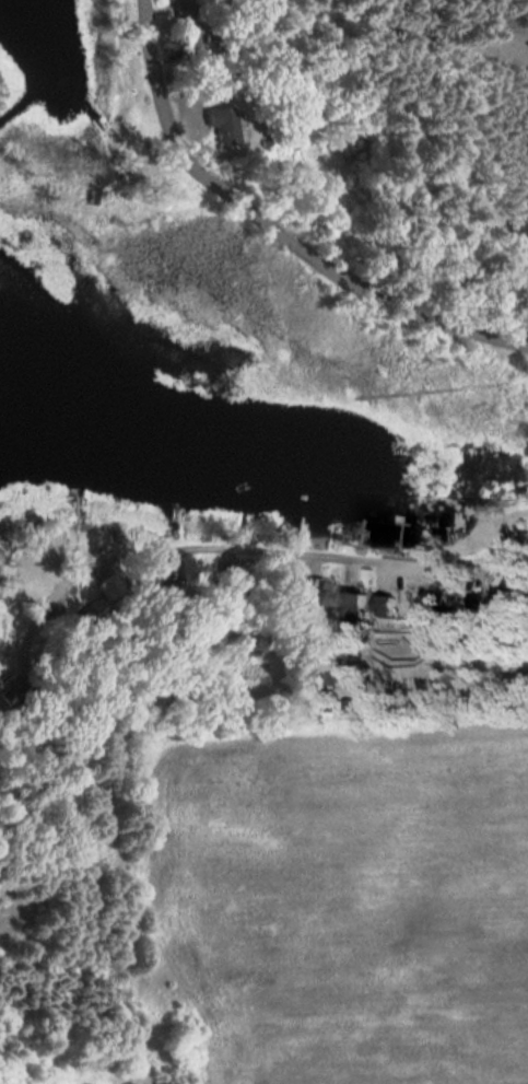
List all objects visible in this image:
building: (190, 38)
building: (224, 123)
road: (268, 235)
road: (515, 316)
road: (304, 553)
building: (297, 591)
building: (326, 595)
building: (509, 597)
building: (353, 602)
building: (385, 604)
building: (415, 608)
road: (38, 614)
building: (14, 688)

